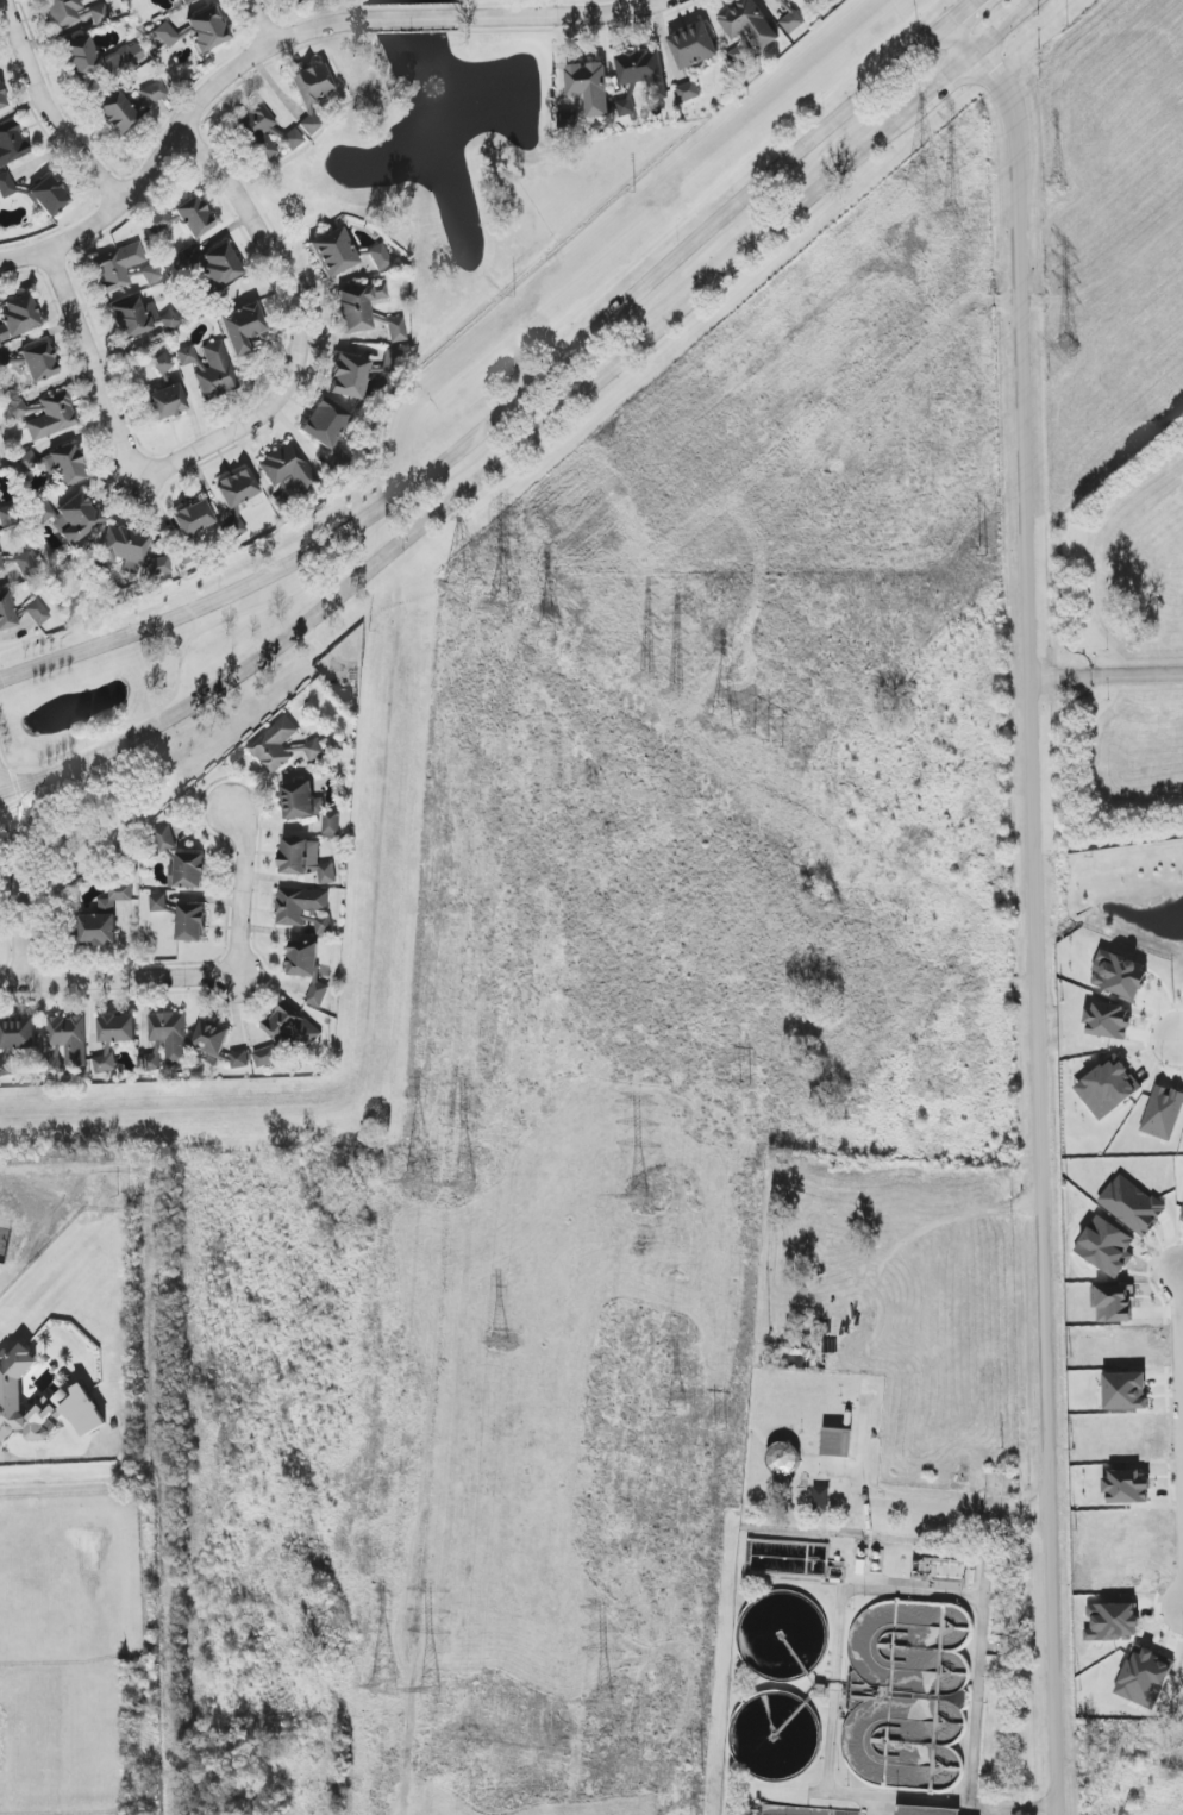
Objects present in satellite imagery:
building: (295, 0)
building: (187, 1)
building: (782, 1)
building: (809, 1)
building: (62, 12)
road: (960, 12)
building: (99, 14)
road: (571, 17)
road: (409, 18)
building: (790, 19)
road: (259, 21)
building: (749, 23)
road: (1006, 27)
building: (207, 30)
building: (167, 35)
building: (693, 46)
building: (740, 51)
building: (99, 58)
building: (640, 68)
building: (312, 83)
building: (590, 87)
fountain: (439, 90)
road: (934, 90)
building: (688, 92)
building: (152, 93)
building: (2, 100)
building: (625, 107)
road: (45, 111)
building: (118, 113)
building: (567, 119)
building: (311, 123)
building: (257, 130)
road: (171, 138)
building: (293, 139)
building: (11, 144)
power tower: (944, 163)
building: (6, 186)
power tower: (1058, 188)
building: (49, 196)
power tower: (951, 214)
building: (194, 218)
building: (158, 221)
building: (333, 252)
building: (380, 257)
building: (221, 264)
building: (117, 268)
road: (1112, 271)
building: (148, 274)
building: (358, 306)
building: (18, 317)
building: (140, 318)
road: (943, 325)
building: (242, 327)
road: (298, 327)
building: (396, 330)
power tower: (1068, 352)
building: (186, 356)
building: (7, 359)
building: (392, 361)
building: (39, 362)
building: (163, 364)
road: (94, 367)
building: (215, 371)
building: (349, 376)
road: (712, 399)
building: (167, 402)
road: (508, 408)
building: (45, 415)
building: (326, 423)
road: (495, 442)
building: (0, 465)
building: (64, 465)
building: (288, 467)
building: (237, 488)
road: (465, 489)
building: (0, 495)
building: (7, 515)
building: (71, 518)
building: (193, 518)
building: (120, 550)
power tower: (983, 555)
building: (26, 565)
building: (0, 567)
building: (158, 567)
power tower: (463, 587)
power tower: (501, 611)
building: (6, 612)
building: (37, 613)
power tower: (546, 630)
road: (1113, 671)
power tower: (666, 688)
power tower: (724, 721)
building: (274, 745)
power tower: (769, 745)
building: (314, 750)
road: (7, 765)
building: (308, 806)
building: (165, 839)
building: (306, 859)
building: (188, 871)
road: (19, 883)
power tower: (442, 891)
road: (240, 894)
building: (158, 903)
building: (299, 906)
road: (1047, 907)
building: (105, 918)
building: (192, 922)
building: (324, 925)
building: (307, 968)
building: (1121, 976)
road: (117, 981)
building: (1108, 1021)
building: (118, 1028)
building: (289, 1031)
building: (18, 1033)
building: (170, 1035)
building: (69, 1038)
building: (211, 1038)
road: (1179, 1039)
building: (265, 1057)
building: (239, 1059)
building: (104, 1063)
building: (151, 1063)
building: (5, 1068)
power tower: (746, 1085)
building: (1108, 1088)
building: (1163, 1113)
road: (440, 1171)
power tower: (463, 1184)
power tower: (419, 1196)
power tower: (639, 1197)
building: (1182, 1219)
power tower: (499, 1344)
road: (1182, 1358)
building: (1125, 1391)
building: (42, 1403)
power tower: (675, 1410)
power tower: (720, 1431)
building: (837, 1442)
building: (783, 1458)
road: (162, 1475)
building: (1127, 1487)
road: (876, 1496)
power tower: (399, 1507)
building: (938, 1571)
road: (979, 1658)
power tower: (426, 1690)
power tower: (601, 1703)
power tower: (699, 1775)
building: (926, 1810)

